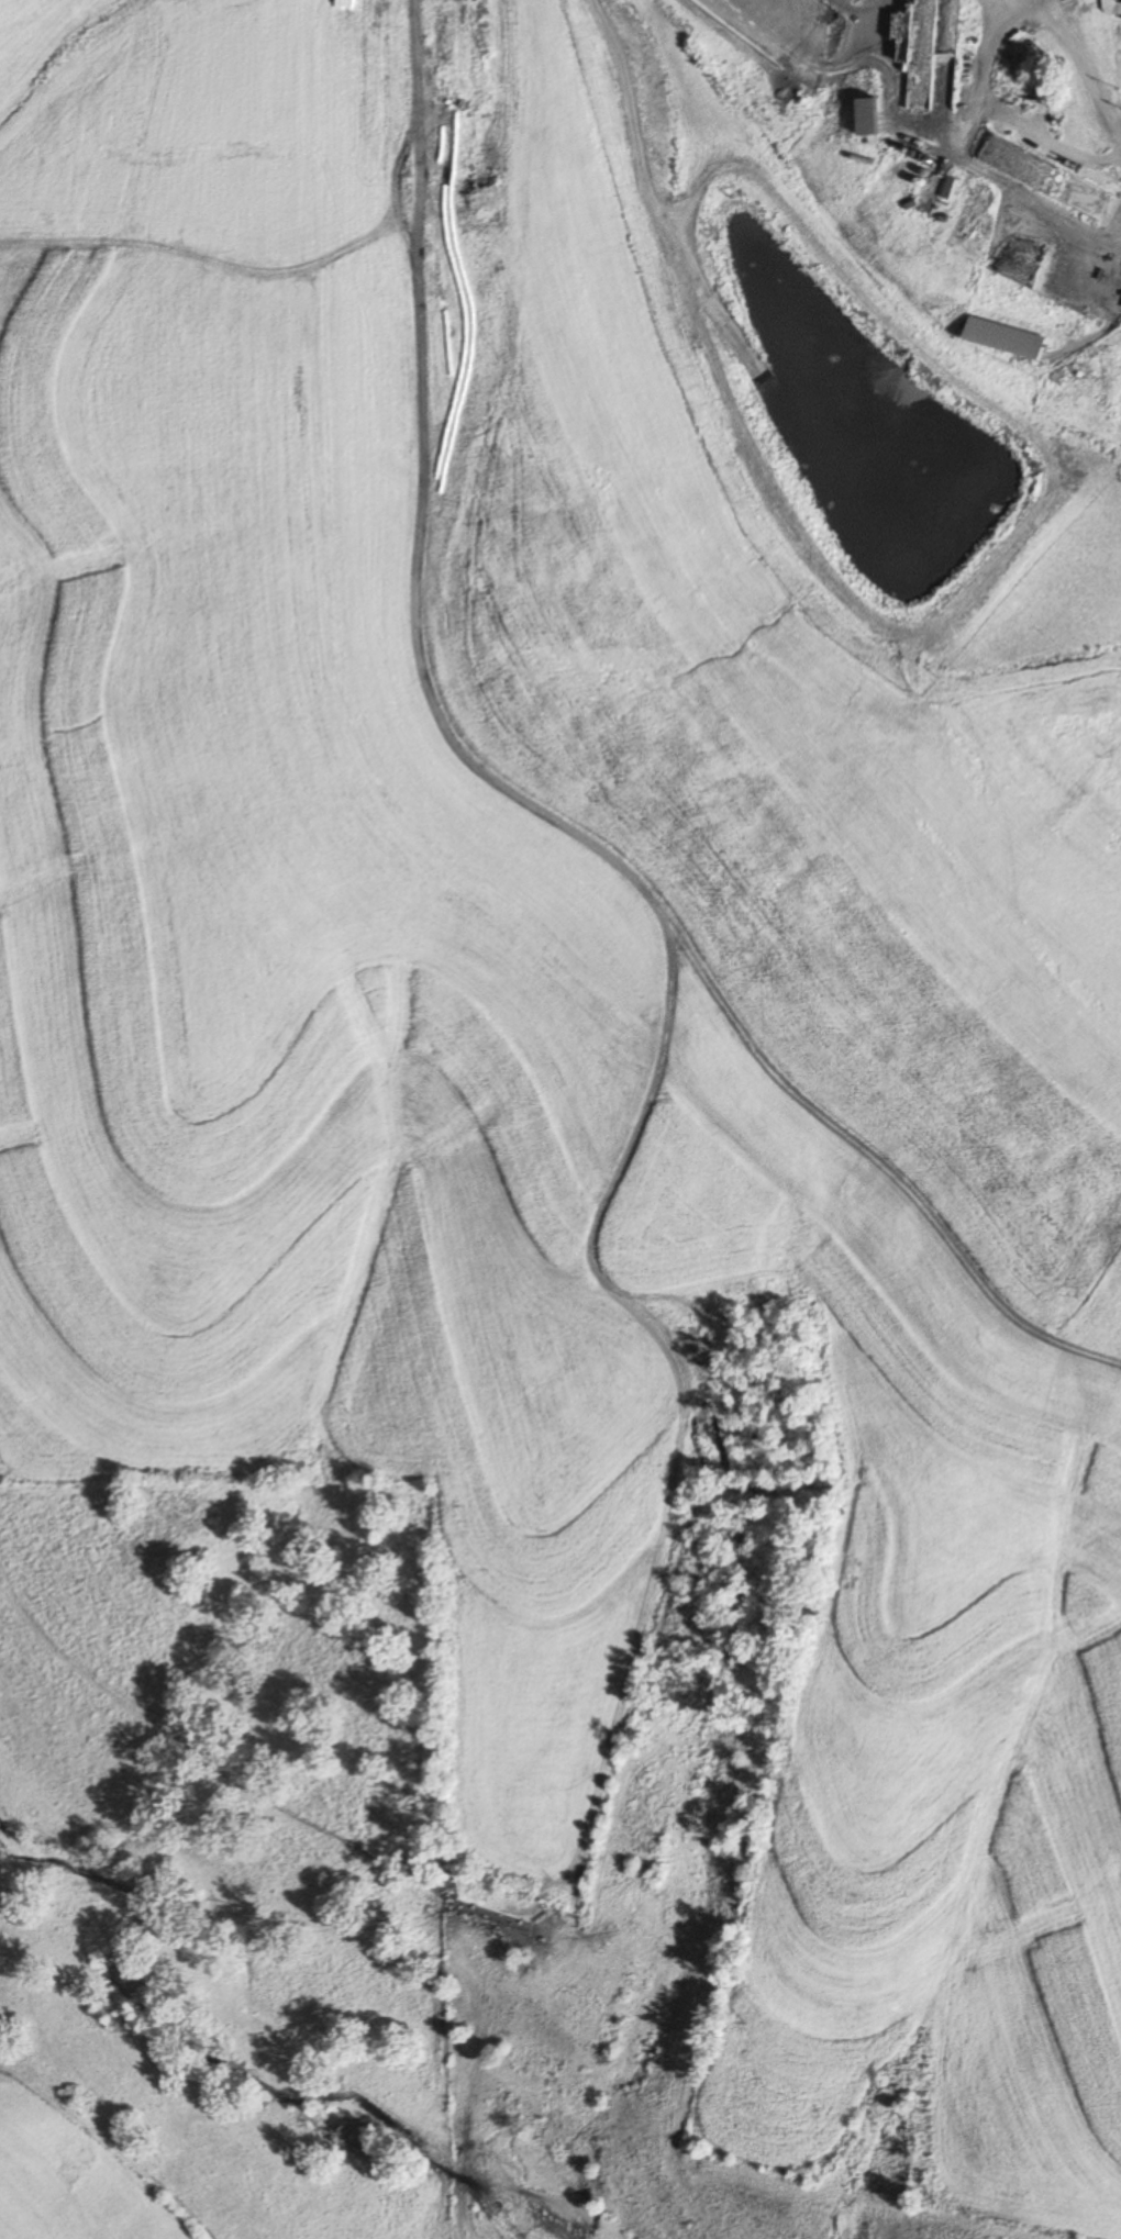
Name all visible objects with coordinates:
building: (1110, 8)
building: (945, 13)
road: (1068, 47)
building: (1043, 82)
building: (937, 202)

